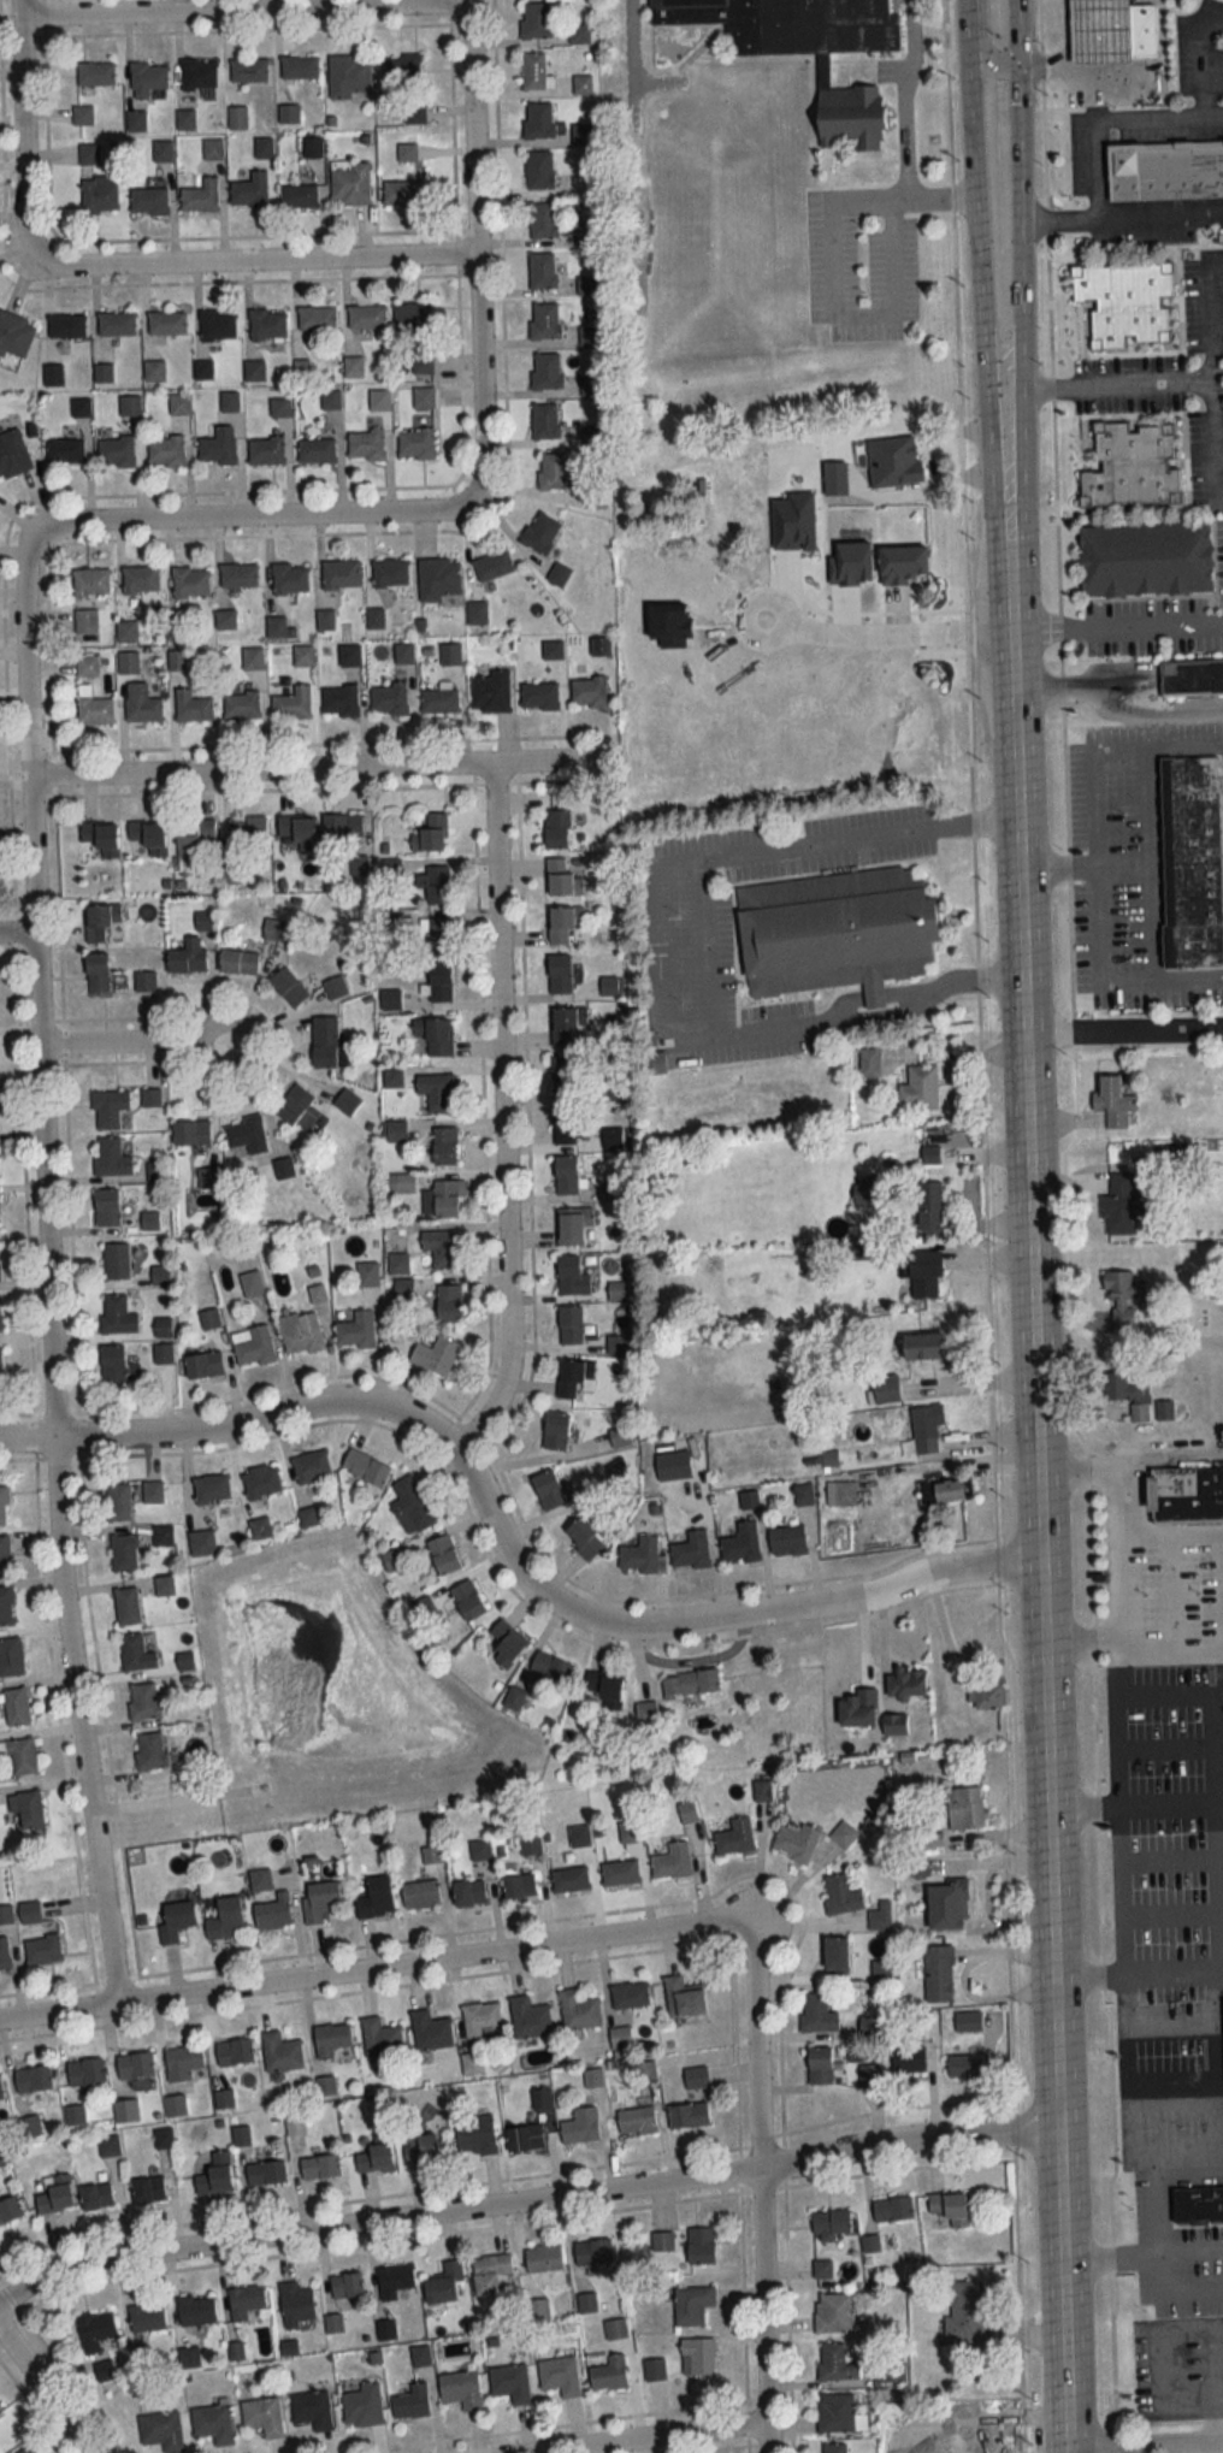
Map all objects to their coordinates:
road: (242, 10)
road: (967, 16)
road: (46, 17)
building: (536, 19)
building: (793, 22)
building: (1141, 29)
building: (1100, 31)
building: (579, 34)
road: (699, 46)
road: (985, 54)
road: (1200, 57)
road: (1076, 60)
road: (638, 64)
building: (300, 67)
building: (249, 70)
building: (403, 71)
building: (533, 71)
building: (95, 73)
building: (199, 73)
building: (349, 77)
building: (148, 78)
road: (662, 79)
road: (906, 94)
building: (852, 112)
building: (288, 113)
building: (83, 114)
building: (237, 117)
building: (540, 119)
building: (136, 120)
building: (185, 120)
building: (581, 132)
road: (18, 138)
building: (265, 146)
building: (313, 146)
building: (213, 148)
building: (407, 150)
building: (89, 152)
road: (1092, 165)
building: (539, 169)
building: (1165, 169)
building: (350, 182)
road: (1015, 189)
building: (250, 190)
building: (402, 190)
road: (903, 191)
building: (100, 193)
building: (201, 195)
building: (299, 195)
building: (149, 200)
road: (975, 203)
road: (1056, 217)
building: (543, 218)
building: (585, 234)
road: (472, 247)
road: (260, 260)
building: (542, 268)
building: (1124, 302)
building: (317, 317)
building: (367, 317)
road: (867, 317)
building: (544, 320)
building: (117, 321)
building: (166, 321)
building: (415, 321)
building: (267, 323)
building: (218, 324)
building: (66, 325)
building: (16, 333)
building: (353, 366)
building: (203, 368)
building: (254, 370)
building: (545, 370)
building: (53, 374)
road: (1170, 376)
building: (423, 397)
building: (330, 398)
building: (229, 400)
building: (379, 400)
building: (179, 402)
building: (129, 404)
building: (79, 406)
building: (280, 406)
building: (544, 420)
building: (415, 442)
building: (366, 444)
building: (218, 445)
road: (1207, 447)
building: (65, 449)
building: (265, 449)
building: (315, 449)
building: (116, 450)
building: (165, 450)
building: (13, 453)
building: (772, 462)
building: (1133, 463)
building: (555, 472)
building: (828, 493)
building: (595, 497)
road: (260, 513)
building: (540, 532)
building: (1144, 557)
building: (494, 565)
building: (390, 572)
building: (341, 573)
building: (238, 574)
building: (559, 574)
building: (140, 578)
building: (290, 578)
building: (438, 578)
building: (90, 581)
building: (190, 581)
building: (477, 611)
building: (85, 621)
road: (1115, 625)
building: (276, 626)
road: (885, 627)
building: (126, 631)
building: (599, 645)
building: (449, 652)
building: (302, 654)
building: (349, 655)
building: (252, 657)
building: (128, 662)
building: (87, 664)
building: (1190, 676)
building: (491, 691)
building: (589, 691)
building: (539, 694)
building: (388, 697)
building: (339, 699)
building: (439, 699)
road: (1115, 702)
building: (142, 703)
building: (291, 703)
building: (241, 704)
building: (191, 705)
building: (94, 709)
road: (1186, 746)
road: (314, 770)
road: (1151, 818)
building: (342, 824)
building: (248, 828)
building: (556, 828)
building: (297, 831)
building: (193, 833)
building: (431, 833)
building: (149, 834)
building: (101, 837)
building: (1197, 859)
building: (358, 864)
building: (562, 877)
building: (435, 883)
building: (102, 922)
building: (563, 922)
building: (273, 928)
building: (835, 930)
road: (17, 935)
building: (435, 936)
road: (655, 952)
road: (703, 956)
building: (188, 957)
building: (238, 960)
road: (1016, 962)
building: (96, 971)
building: (559, 974)
road: (1189, 979)
building: (144, 980)
building: (439, 981)
building: (288, 986)
building: (335, 987)
building: (567, 1024)
road: (1121, 1029)
road: (201, 1033)
building: (435, 1034)
building: (324, 1041)
building: (869, 1062)
building: (562, 1074)
building: (918, 1087)
building: (436, 1090)
building: (1111, 1099)
building: (108, 1107)
building: (149, 1107)
road: (501, 1115)
building: (565, 1124)
building: (191, 1131)
building: (246, 1134)
building: (444, 1146)
building: (111, 1157)
building: (283, 1168)
building: (566, 1174)
building: (207, 1177)
building: (614, 1189)
building: (868, 1194)
building: (443, 1198)
building: (1121, 1204)
building: (107, 1206)
building: (929, 1207)
building: (149, 1219)
building: (572, 1225)
road: (986, 1230)
building: (441, 1247)
building: (114, 1260)
road: (45, 1269)
building: (367, 1273)
building: (926, 1273)
building: (572, 1276)
building: (250, 1283)
building: (1123, 1294)
building: (448, 1302)
building: (0, 1312)
building: (117, 1313)
building: (208, 1318)
building: (571, 1323)
building: (163, 1326)
building: (356, 1330)
building: (300, 1331)
building: (252, 1346)
building: (926, 1346)
building: (163, 1352)
building: (437, 1354)
building: (113, 1363)
building: (203, 1364)
building: (0, 1365)
building: (573, 1375)
building: (887, 1388)
building: (1127, 1393)
building: (1164, 1409)
building: (927, 1426)
building: (557, 1431)
building: (620, 1437)
road: (1166, 1447)
building: (673, 1465)
building: (311, 1466)
building: (366, 1467)
building: (618, 1468)
building: (261, 1480)
building: (211, 1488)
building: (548, 1489)
building: (152, 1490)
building: (944, 1490)
building: (840, 1493)
building: (803, 1494)
building: (1187, 1494)
building: (117, 1501)
building: (412, 1505)
building: (2, 1506)
building: (163, 1533)
building: (585, 1538)
building: (787, 1539)
building: (201, 1542)
road: (501, 1542)
building: (742, 1543)
road: (1122, 1548)
building: (691, 1550)
building: (123, 1551)
building: (443, 1554)
building: (4, 1555)
building: (642, 1556)
building: (164, 1585)
road: (1038, 1594)
building: (467, 1600)
building: (6, 1606)
building: (126, 1606)
road: (1219, 1613)
road: (1172, 1639)
building: (506, 1643)
building: (135, 1654)
building: (11, 1656)
building: (551, 1669)
building: (906, 1683)
building: (691, 1684)
building: (607, 1689)
building: (986, 1697)
building: (142, 1702)
building: (14, 1708)
building: (859, 1708)
building: (894, 1724)
building: (149, 1751)
building: (20, 1756)
building: (762, 1790)
road: (1165, 1805)
building: (965, 1807)
building: (26, 1808)
building: (687, 1811)
building: (844, 1833)
building: (580, 1836)
building: (735, 1837)
building: (797, 1842)
building: (536, 1843)
building: (672, 1861)
building: (620, 1873)
building: (571, 1879)
building: (520, 1886)
building: (420, 1893)
building: (469, 1893)
building: (841, 1895)
building: (320, 1898)
building: (377, 1898)
building: (946, 1908)
building: (30, 1913)
building: (272, 1914)
building: (880, 1916)
building: (225, 1919)
building: (176, 1921)
building: (42, 1950)
building: (4, 1953)
building: (837, 1956)
road: (370, 1967)
road: (1136, 1967)
building: (881, 1970)
building: (938, 1974)
road: (1133, 1986)
building: (630, 1996)
building: (683, 1998)
building: (579, 2010)
building: (817, 2014)
building: (480, 2018)
building: (530, 2018)
building: (968, 2021)
building: (430, 2032)
building: (380, 2038)
building: (332, 2041)
road: (1052, 2043)
building: (235, 2052)
building: (280, 2052)
building: (183, 2062)
building: (908, 2062)
building: (135, 2065)
building: (820, 2065)
building: (965, 2065)
building: (85, 2071)
building: (869, 2075)
building: (593, 2077)
building: (696, 2077)
building: (33, 2079)
building: (1, 2091)
road: (1181, 2092)
building: (540, 2098)
building: (223, 2099)
building: (175, 2105)
building: (125, 2110)
building: (75, 2115)
building: (689, 2116)
building: (637, 2121)
building: (295, 2123)
building: (30, 2126)
building: (581, 2127)
building: (474, 2135)
building: (0, 2136)
building: (163, 2136)
building: (525, 2138)
building: (108, 2145)
building: (421, 2148)
building: (376, 2158)
building: (320, 2168)
road: (1183, 2171)
building: (265, 2174)
building: (215, 2175)
road: (760, 2183)
building: (148, 2189)
building: (55, 2195)
building: (96, 2195)
road: (524, 2200)
building: (1198, 2206)
building: (892, 2209)
building: (10, 2210)
building: (947, 2210)
building: (831, 2223)
building: (662, 2245)
building: (701, 2246)
building: (593, 2253)
building: (543, 2258)
road: (1151, 2268)
building: (489, 2272)
building: (395, 2280)
building: (444, 2284)
building: (345, 2286)
building: (246, 2301)
building: (296, 2305)
building: (692, 2306)
building: (196, 2311)
building: (834, 2313)
building: (967, 2313)
building: (147, 2319)
building: (95, 2330)
building: (697, 2357)
building: (834, 2363)
building: (654, 2369)
building: (106, 2370)
building: (609, 2374)
building: (560, 2376)
building: (510, 2382)
road: (1115, 2384)
building: (461, 2389)
road: (43, 2392)
building: (412, 2401)
building: (361, 2406)
building: (312, 2410)
building: (0, 2412)
building: (835, 2412)
building: (262, 2417)
building: (213, 2424)
building: (161, 2430)
road: (644, 2437)
road: (1144, 2443)
building: (833, 2447)
building: (24, 2451)

